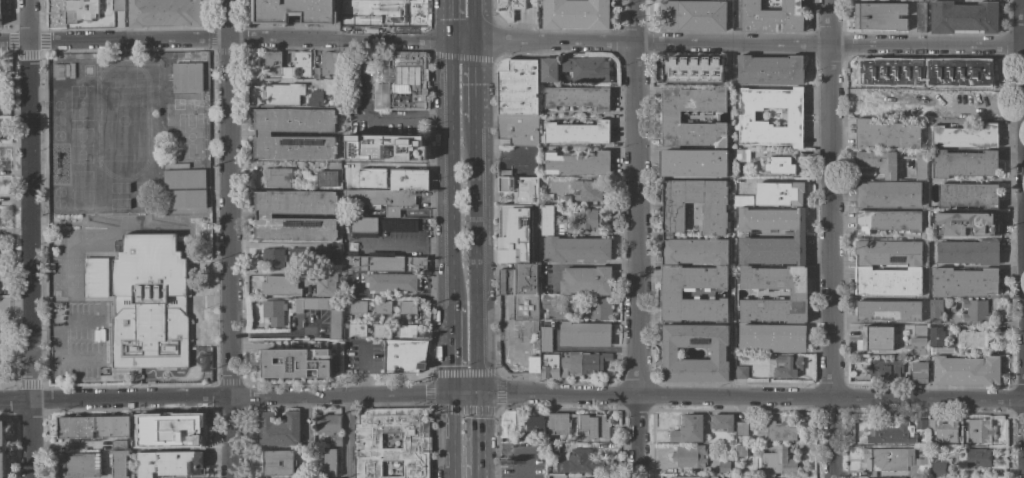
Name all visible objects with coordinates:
building: (117, 5)
building: (0, 7)
building: (510, 8)
building: (79, 10)
building: (293, 11)
building: (165, 13)
building: (383, 13)
building: (576, 14)
building: (502, 15)
building: (692, 15)
building: (880, 16)
building: (772, 17)
building: (920, 17)
building: (964, 17)
road: (450, 19)
road: (469, 19)
road: (1021, 23)
road: (413, 39)
road: (924, 46)
road: (1023, 47)
building: (366, 62)
building: (273, 63)
building: (329, 63)
building: (933, 69)
building: (548, 70)
building: (589, 70)
building: (694, 70)
building: (770, 70)
building: (58, 71)
building: (564, 71)
building: (916, 72)
building: (315, 73)
building: (973, 73)
building: (879, 75)
building: (187, 77)
building: (404, 78)
road: (469, 80)
building: (948, 82)
building: (517, 87)
building: (331, 88)
building: (282, 93)
building: (913, 93)
building: (577, 97)
building: (314, 98)
building: (974, 101)
building: (878, 103)
road: (390, 113)
road: (438, 113)
building: (940, 113)
building: (746, 116)
building: (669, 117)
building: (518, 129)
building: (576, 133)
building: (263, 134)
building: (886, 134)
building: (965, 136)
building: (381, 147)
building: (742, 155)
building: (878, 162)
building: (577, 163)
building: (693, 163)
building: (964, 164)
building: (333, 165)
building: (777, 165)
building: (920, 169)
road: (450, 170)
building: (276, 177)
building: (372, 177)
building: (184, 178)
building: (325, 178)
building: (409, 179)
building: (347, 184)
building: (519, 187)
building: (584, 191)
building: (779, 193)
building: (888, 194)
building: (968, 195)
building: (564, 198)
building: (185, 199)
building: (383, 199)
building: (742, 201)
building: (264, 216)
building: (586, 218)
building: (886, 220)
building: (549, 221)
road: (1022, 223)
building: (965, 224)
building: (714, 225)
building: (343, 226)
building: (378, 226)
road: (28, 238)
road: (829, 238)
road: (230, 239)
road: (635, 239)
road: (405, 243)
road: (276, 245)
building: (576, 249)
building: (332, 252)
building: (968, 252)
building: (298, 254)
road: (473, 256)
building: (273, 258)
building: (382, 262)
building: (743, 265)
building: (863, 268)
building: (96, 277)
building: (518, 280)
building: (586, 280)
building: (964, 281)
building: (390, 282)
building: (326, 283)
building: (282, 285)
building: (671, 294)
building: (149, 304)
building: (358, 306)
road: (14, 307)
building: (381, 307)
building: (407, 307)
building: (526, 307)
building: (553, 308)
building: (599, 308)
building: (273, 310)
building: (889, 311)
building: (935, 311)
building: (975, 311)
building: (336, 319)
building: (352, 330)
building: (381, 330)
building: (408, 330)
building: (919, 330)
building: (584, 334)
building: (937, 335)
building: (969, 337)
building: (771, 338)
building: (877, 338)
building: (545, 339)
building: (918, 341)
road: (450, 347)
building: (718, 353)
building: (404, 355)
building: (593, 361)
building: (296, 363)
building: (570, 364)
building: (785, 365)
building: (549, 366)
building: (884, 369)
building: (965, 369)
building: (533, 370)
building: (741, 372)
building: (919, 372)
traffic signals: (451, 392)
traffic signals: (477, 392)
road: (511, 392)
building: (722, 422)
building: (558, 423)
building: (506, 424)
building: (519, 424)
building: (922, 424)
building: (535, 425)
building: (931, 425)
building: (92, 427)
building: (329, 427)
building: (592, 427)
building: (741, 428)
building: (278, 429)
building: (688, 429)
building: (946, 430)
building: (979, 430)
building: (776, 431)
road: (476, 432)
building: (891, 433)
building: (172, 434)
road: (451, 435)
road: (345, 437)
road: (1022, 438)
building: (415, 442)
building: (119, 445)
building: (134, 446)
building: (552, 448)
building: (1, 450)
building: (741, 450)
building: (689, 456)
building: (978, 458)
building: (578, 461)
building: (894, 461)
building: (775, 462)
building: (278, 463)
building: (329, 463)
building: (120, 464)
building: (79, 465)
building: (171, 465)
building: (724, 467)
building: (938, 469)
road: (476, 476)
building: (691, 477)
building: (767, 477)
building: (790, 477)

